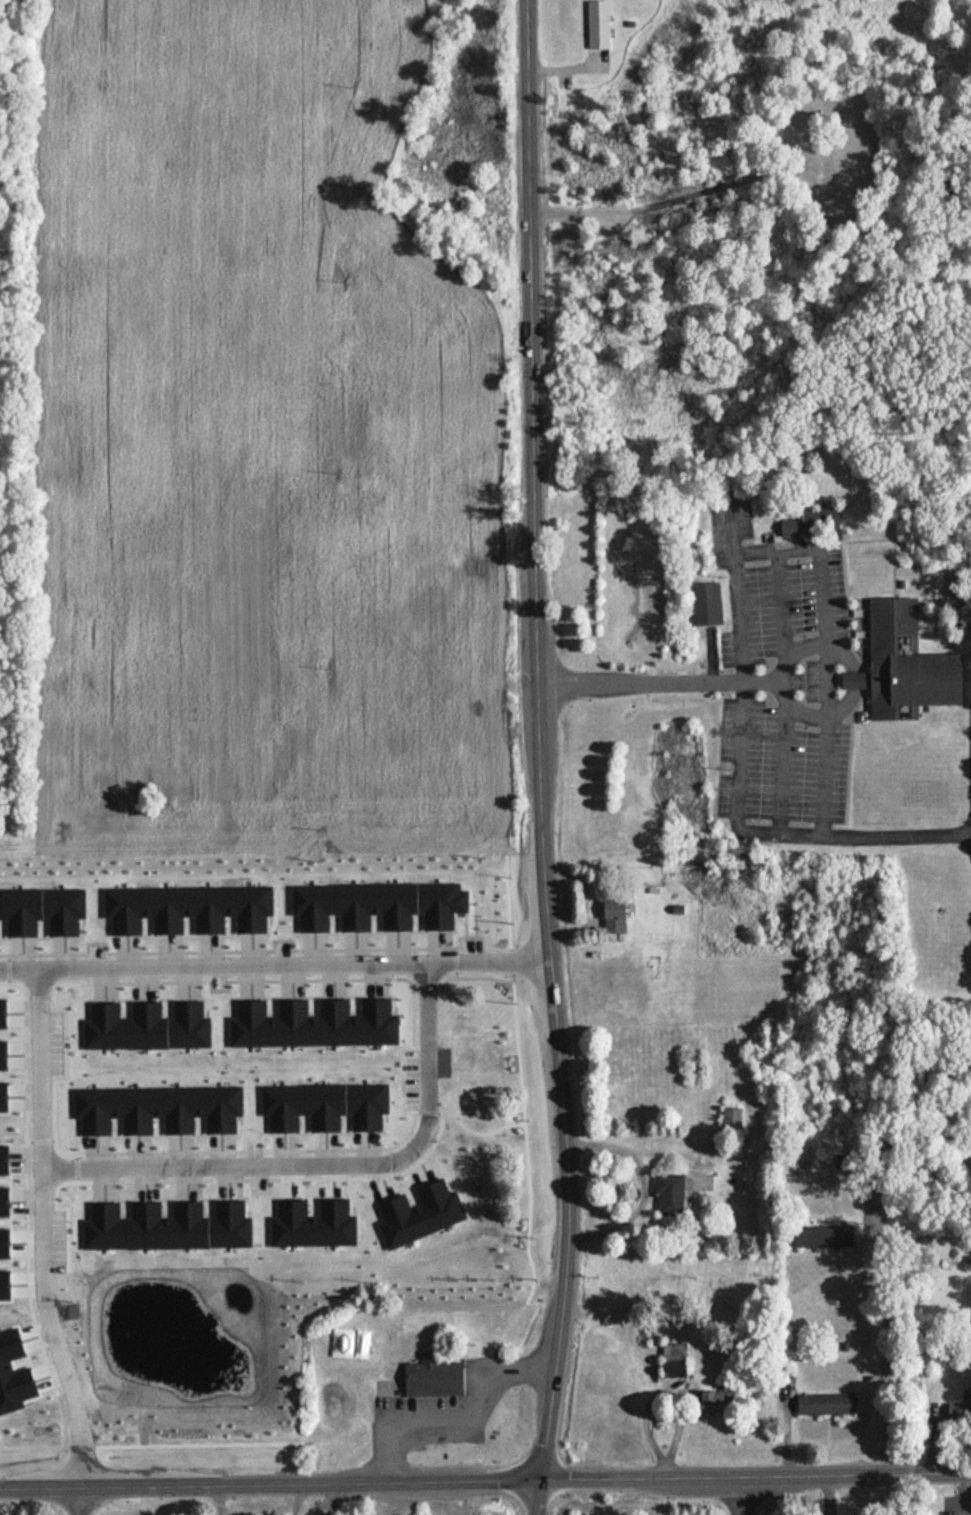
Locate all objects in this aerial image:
building: (599, 23)
building: (806, 521)
building: (707, 603)
building: (907, 663)
road: (534, 740)
road: (755, 835)
building: (617, 916)
road: (274, 973)
building: (457, 1043)
building: (733, 1118)
building: (411, 1157)
road: (323, 1173)
building: (671, 1194)
building: (486, 1200)
building: (410, 1204)
road: (40, 1233)
building: (825, 1236)
building: (485, 1238)
road: (883, 1352)
building: (675, 1360)
building: (436, 1378)
building: (716, 1402)
building: (828, 1404)
building: (961, 1409)
road: (455, 1415)
road: (485, 1479)
road: (740, 1495)
road: (538, 1496)
road: (299, 1498)
road: (221, 1499)
road: (82, 1500)

